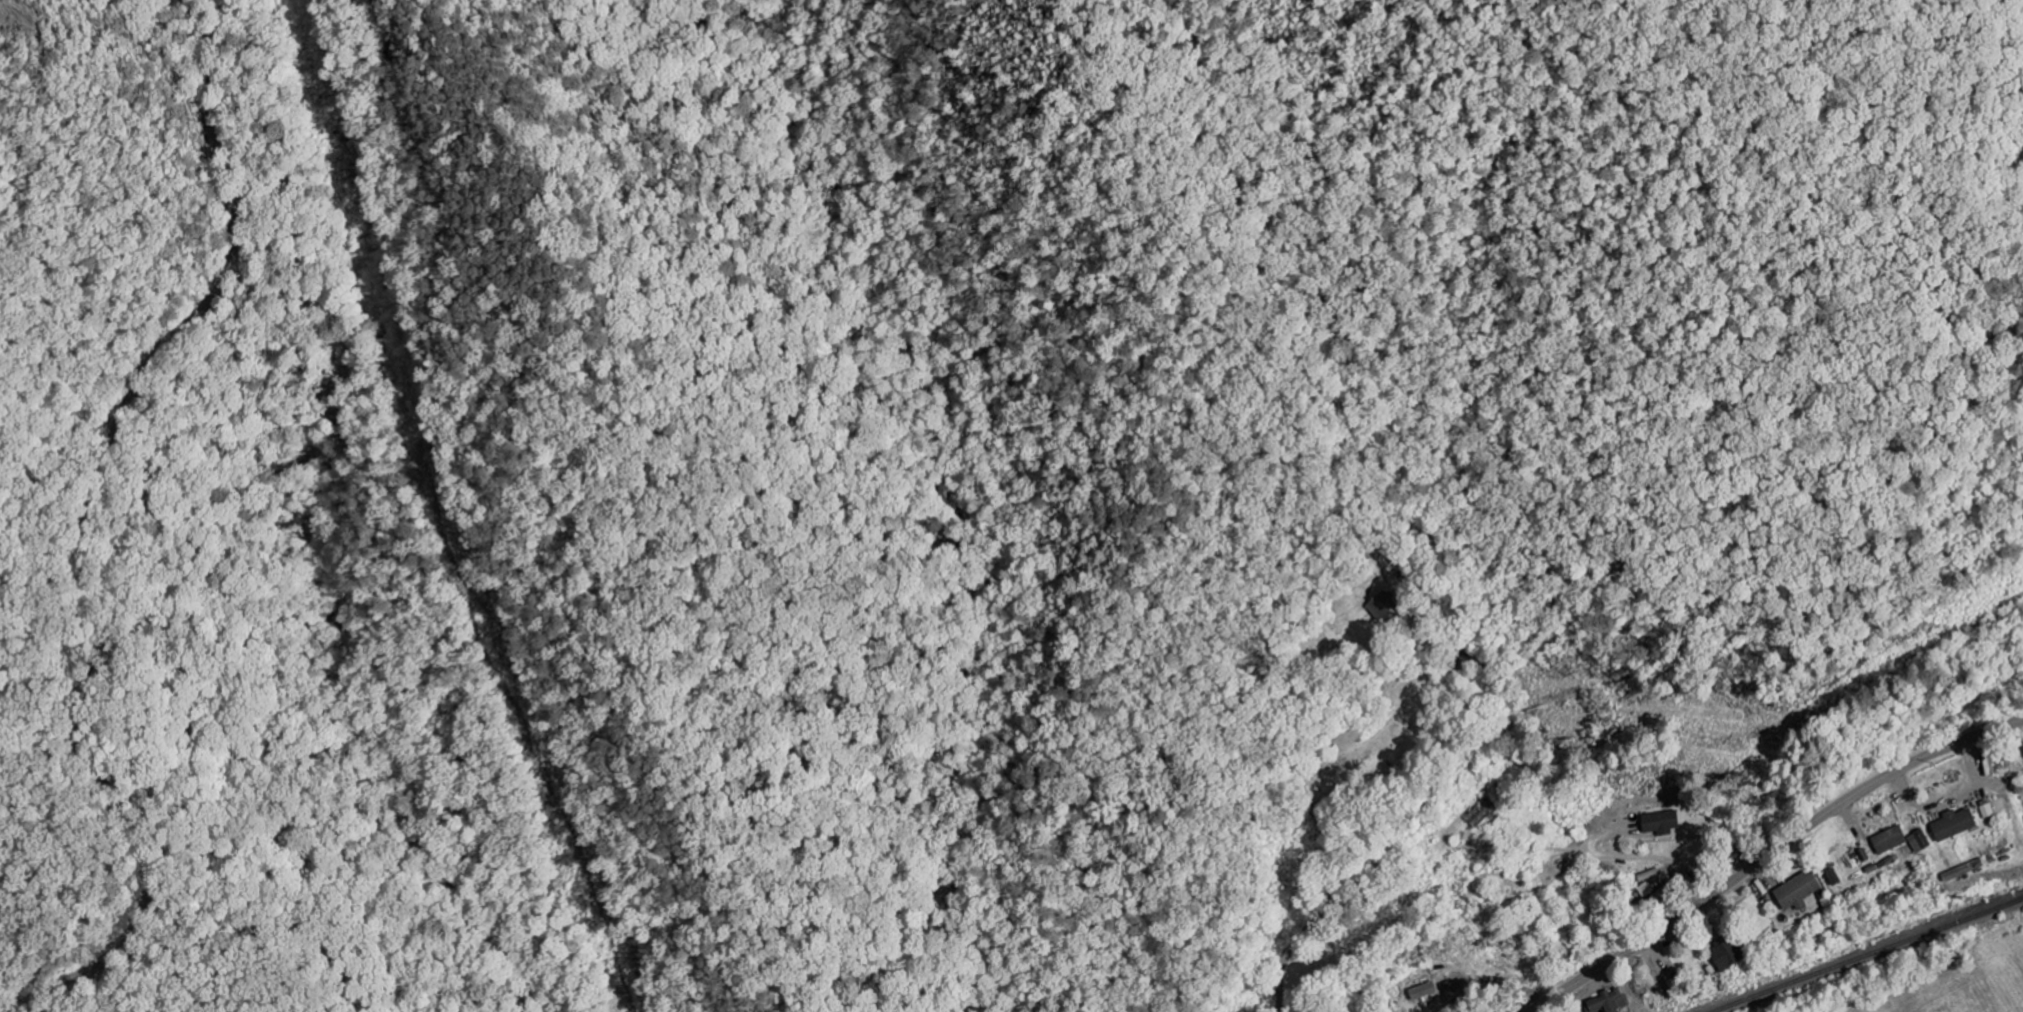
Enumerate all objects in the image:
road: (87, 530)
building: (1383, 605)
road: (2002, 745)
building: (1988, 808)
building: (1482, 813)
building: (1662, 821)
building: (1956, 823)
building: (1891, 839)
building: (1921, 841)
road: (1770, 853)
building: (1836, 878)
building: (1800, 890)
railway: (1867, 951)
building: (1728, 953)
building: (1425, 990)
building: (1608, 1001)

